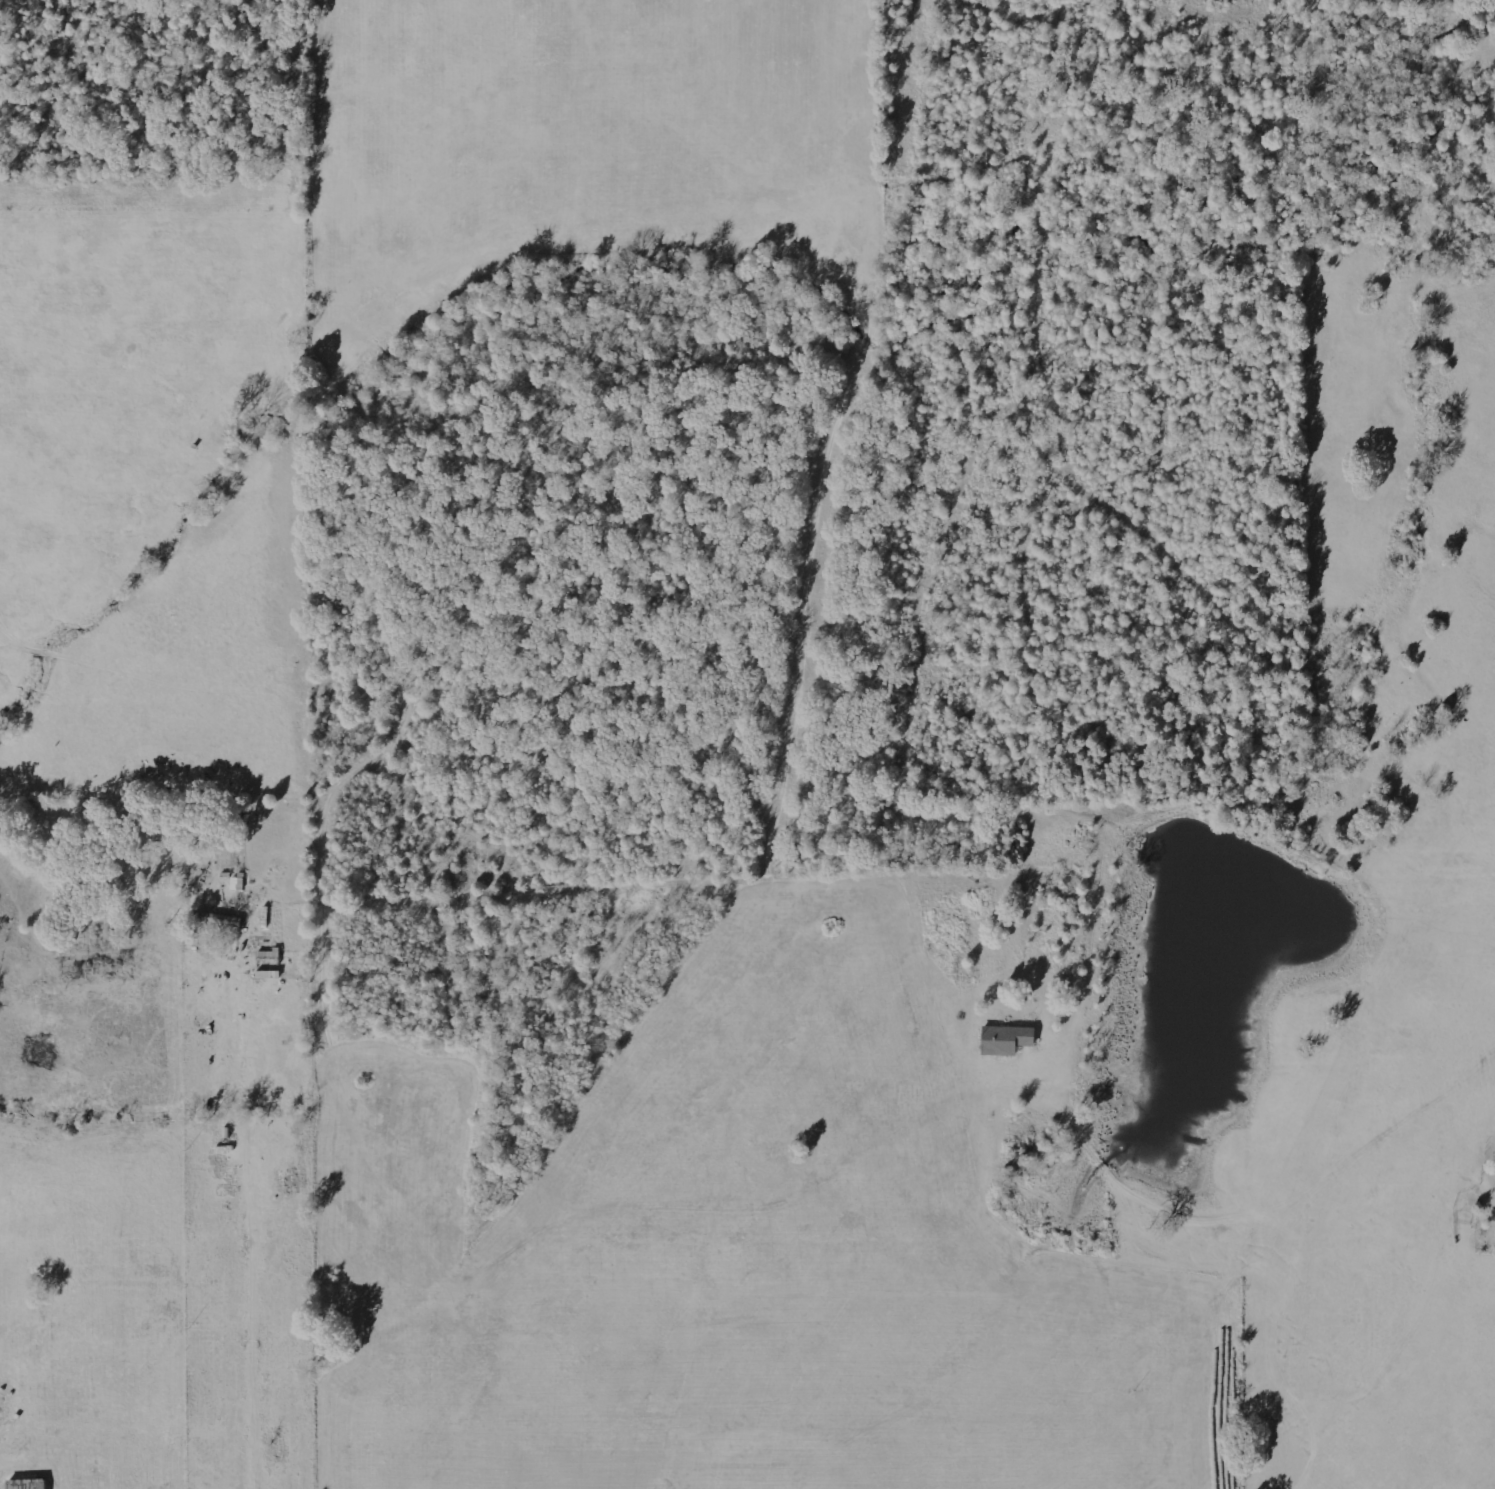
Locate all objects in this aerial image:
building: (220, 919)
building: (1010, 1039)
building: (30, 1484)

